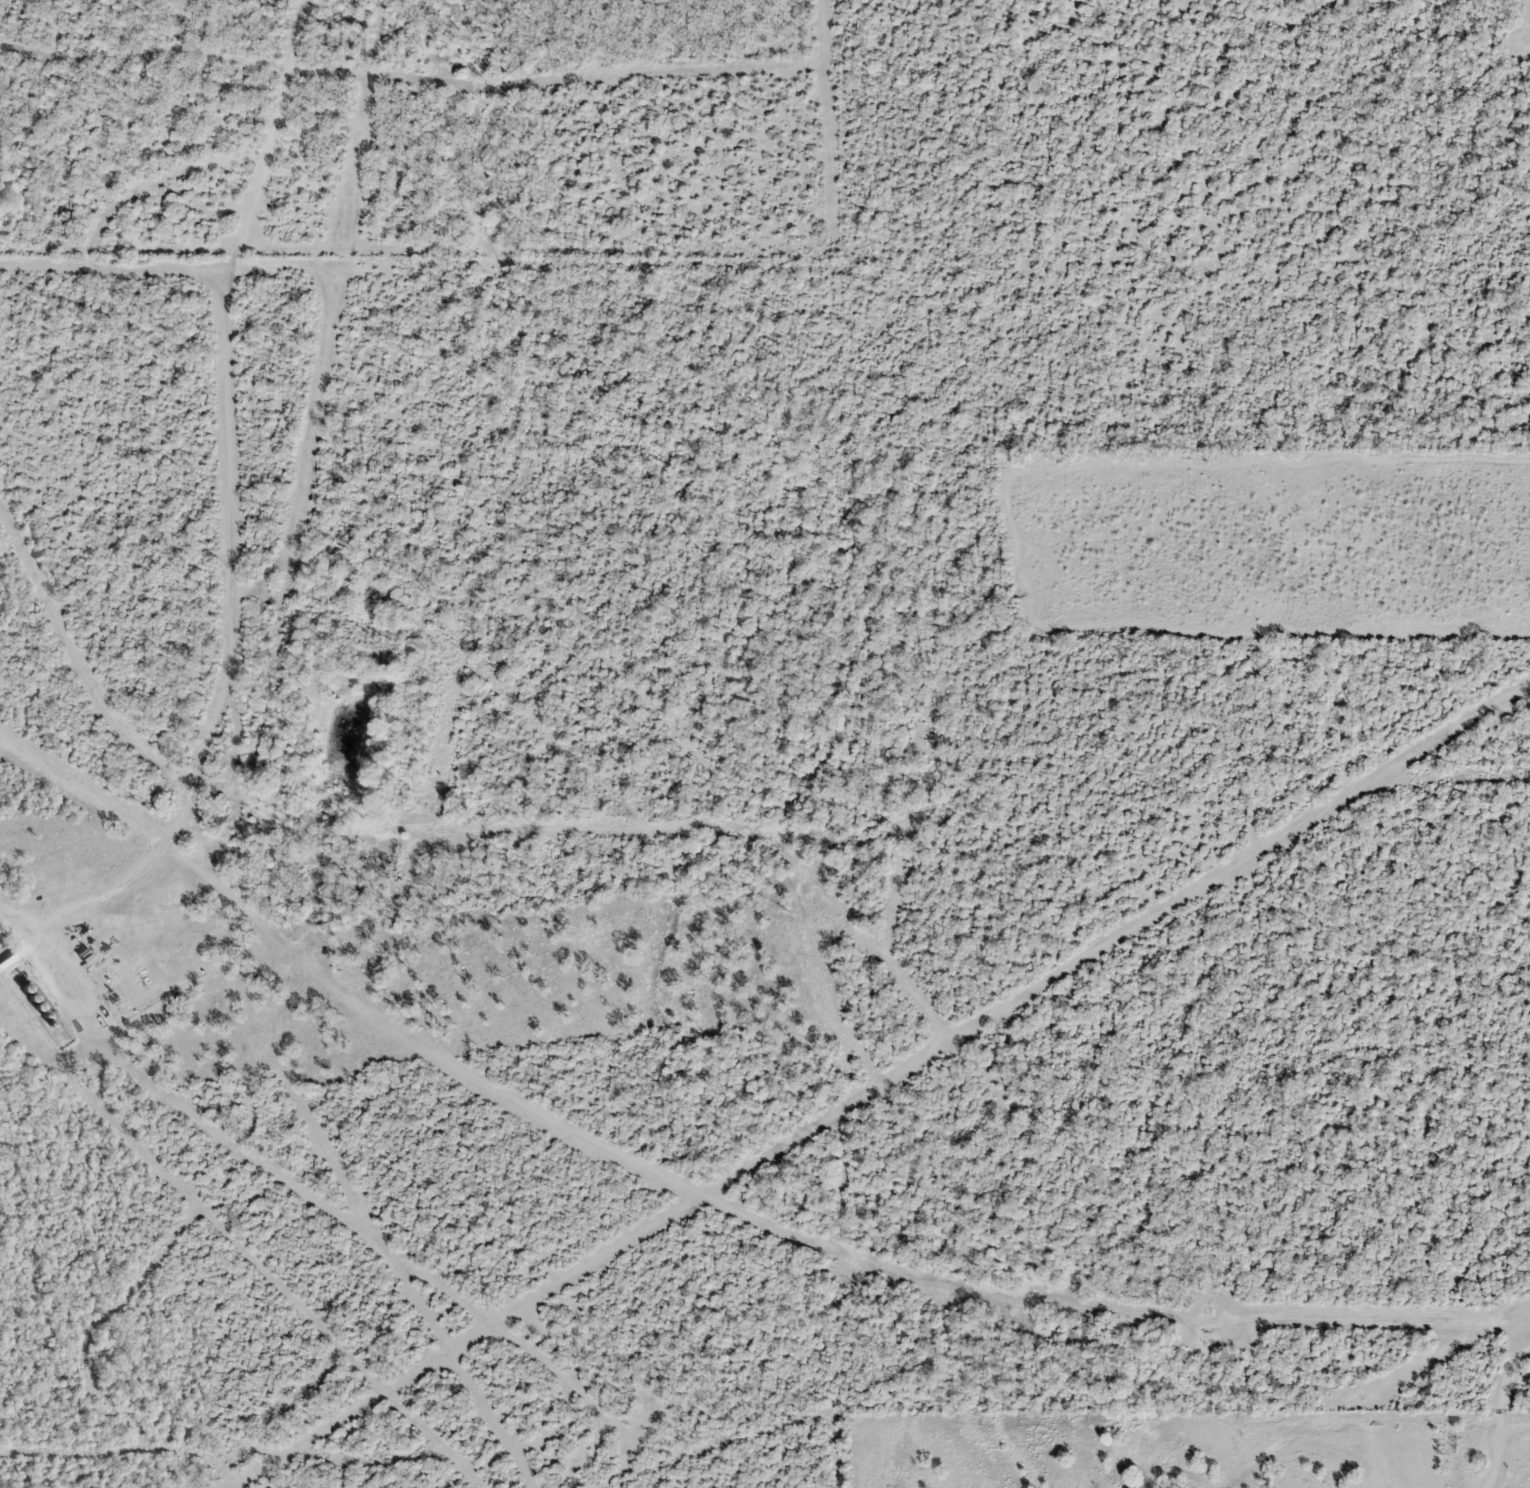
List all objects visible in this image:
road: (39, 964)

